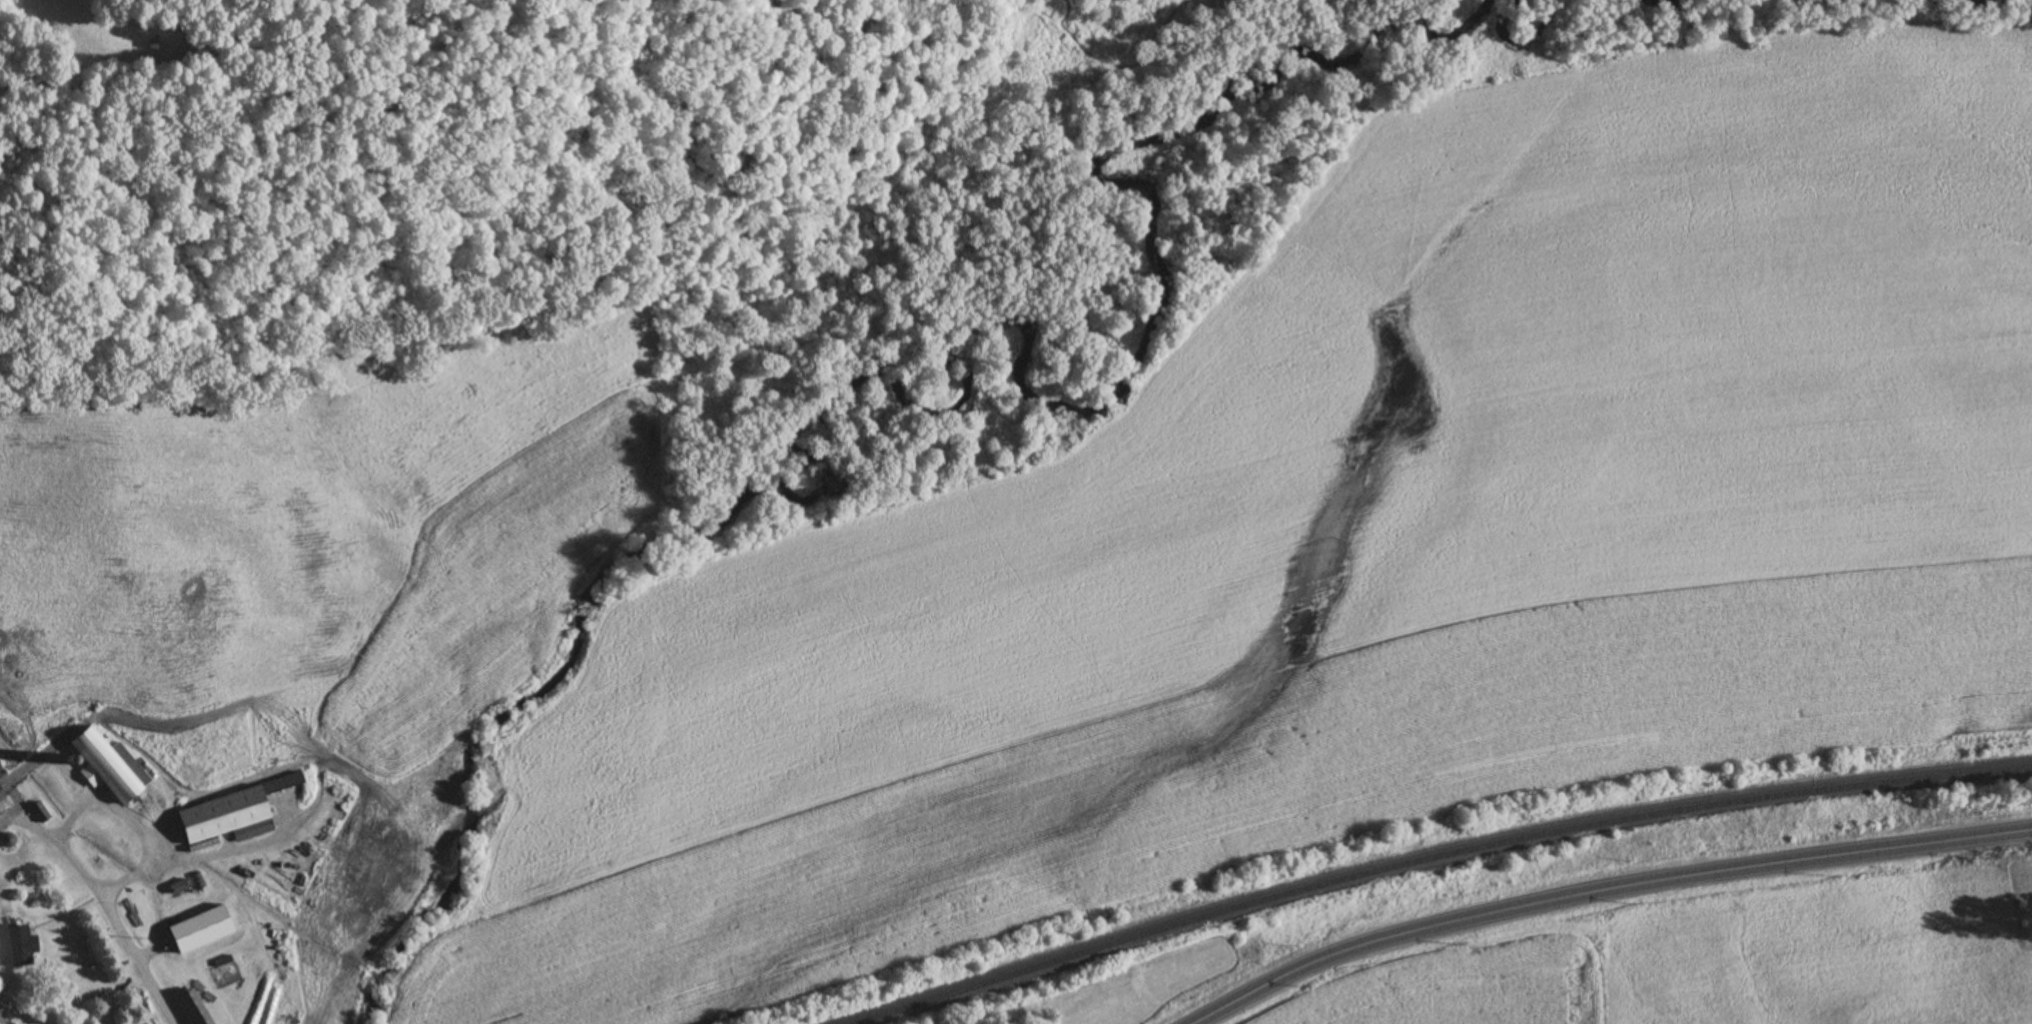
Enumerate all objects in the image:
building: (109, 766)
building: (1, 796)
building: (39, 812)
building: (222, 814)
road: (137, 825)
road: (257, 842)
railway: (1434, 857)
road: (1603, 890)
road: (105, 901)
building: (199, 928)
building: (16, 947)
building: (277, 991)
building: (290, 1002)
building: (193, 1008)

